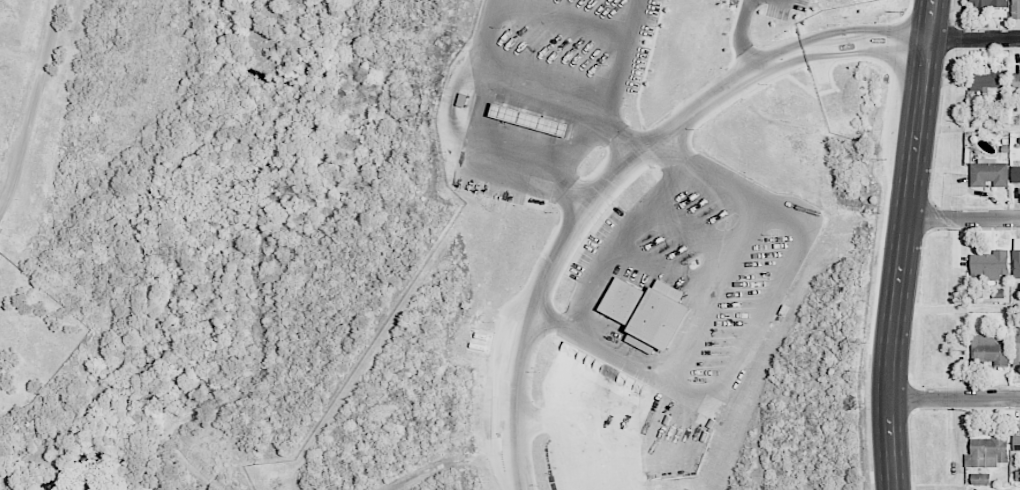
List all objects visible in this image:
building: (990, 3)
building: (1016, 9)
road: (565, 17)
road: (485, 30)
wastewater plant: (10, 31)
road: (738, 39)
road: (973, 39)
road: (620, 56)
building: (1016, 81)
building: (989, 82)
road: (566, 97)
road: (30, 104)
road: (578, 141)
road: (501, 150)
road: (616, 172)
building: (988, 173)
building: (1016, 173)
road: (963, 218)
road: (692, 232)
road: (621, 239)
road: (903, 244)
wastewater plant: (0, 252)
building: (1016, 264)
building: (989, 265)
road: (665, 270)
road: (709, 301)
building: (648, 313)
building: (987, 349)
building: (1015, 349)
road: (953, 398)
building: (1016, 444)
building: (987, 452)
building: (980, 479)

